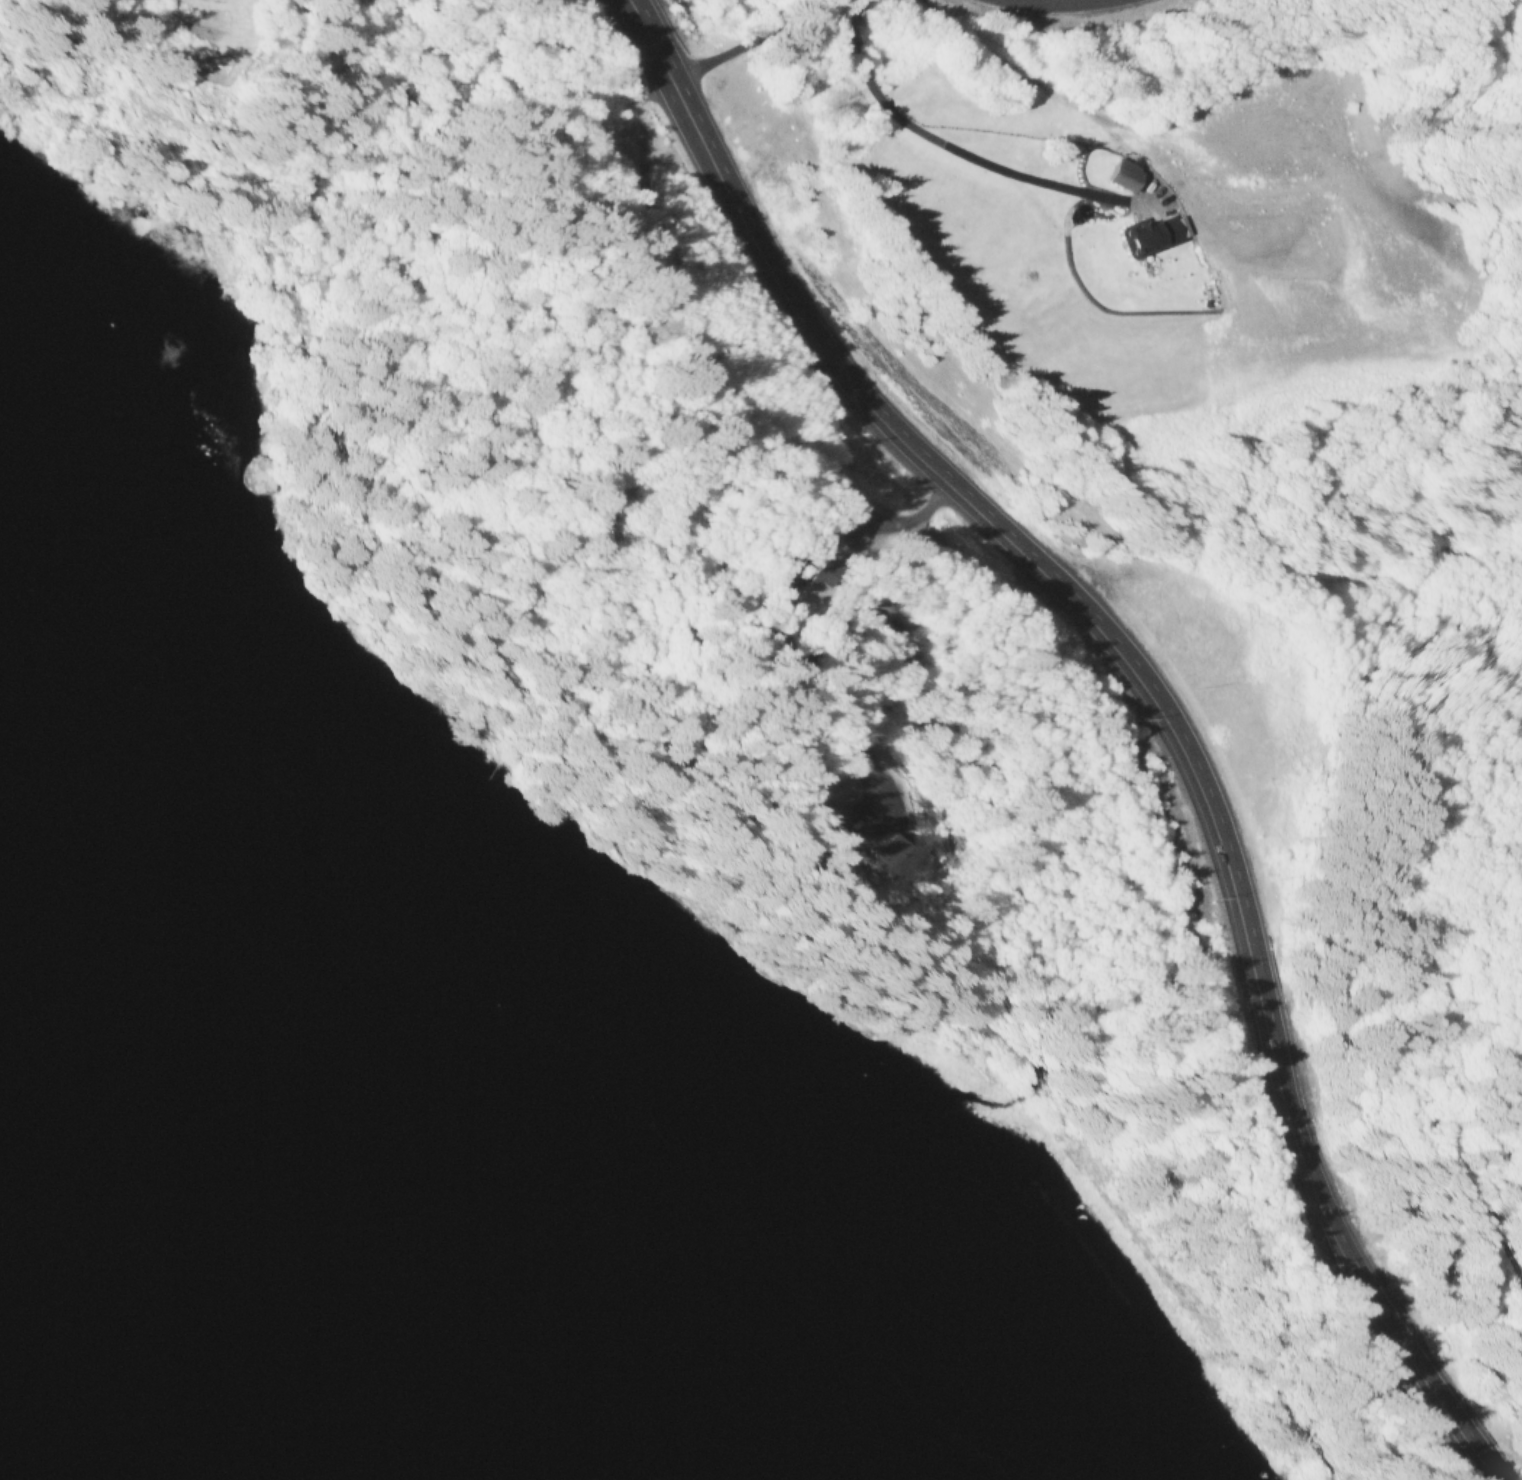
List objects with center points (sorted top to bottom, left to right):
road: (1051, 3)
road: (757, 32)
road: (722, 175)
building: (1121, 176)
building: (1148, 237)
road: (1191, 780)
building: (899, 859)
road: (1480, 977)
road: (1435, 1398)

